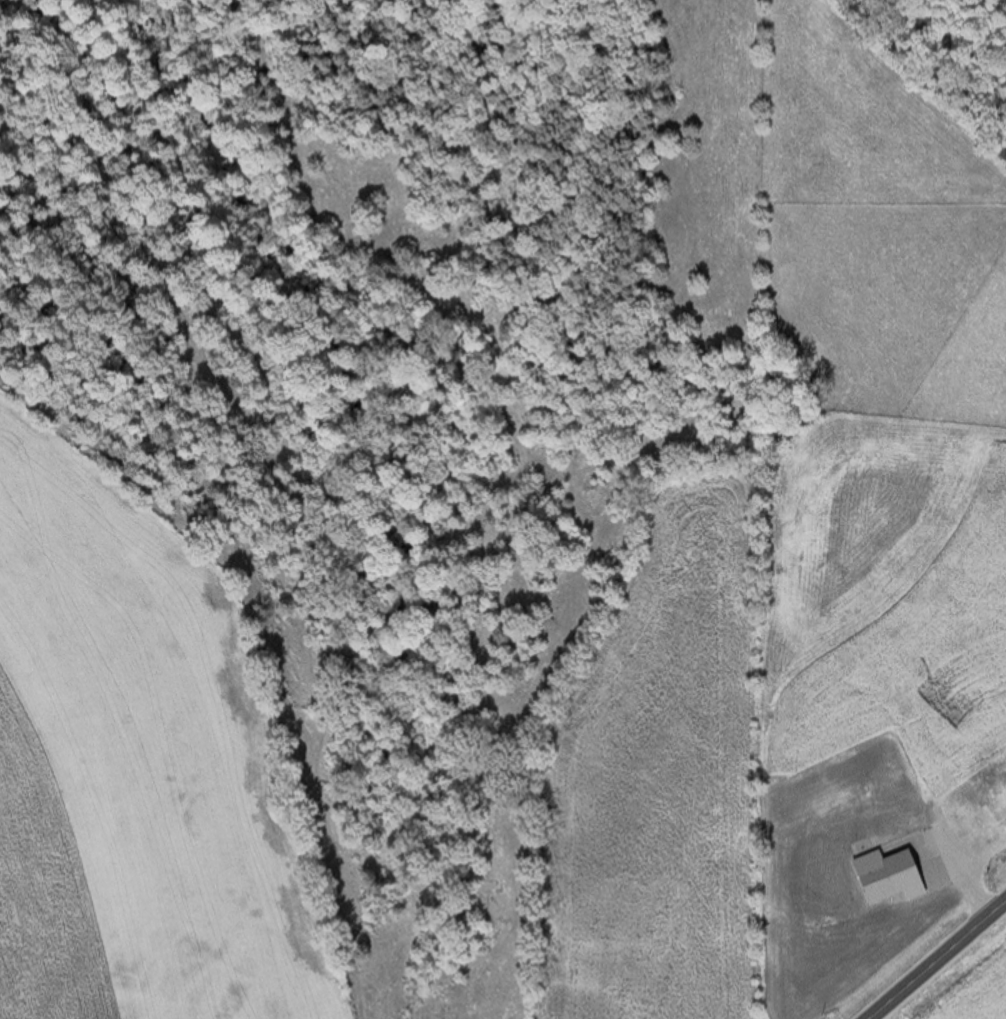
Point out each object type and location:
road: (916, 949)

